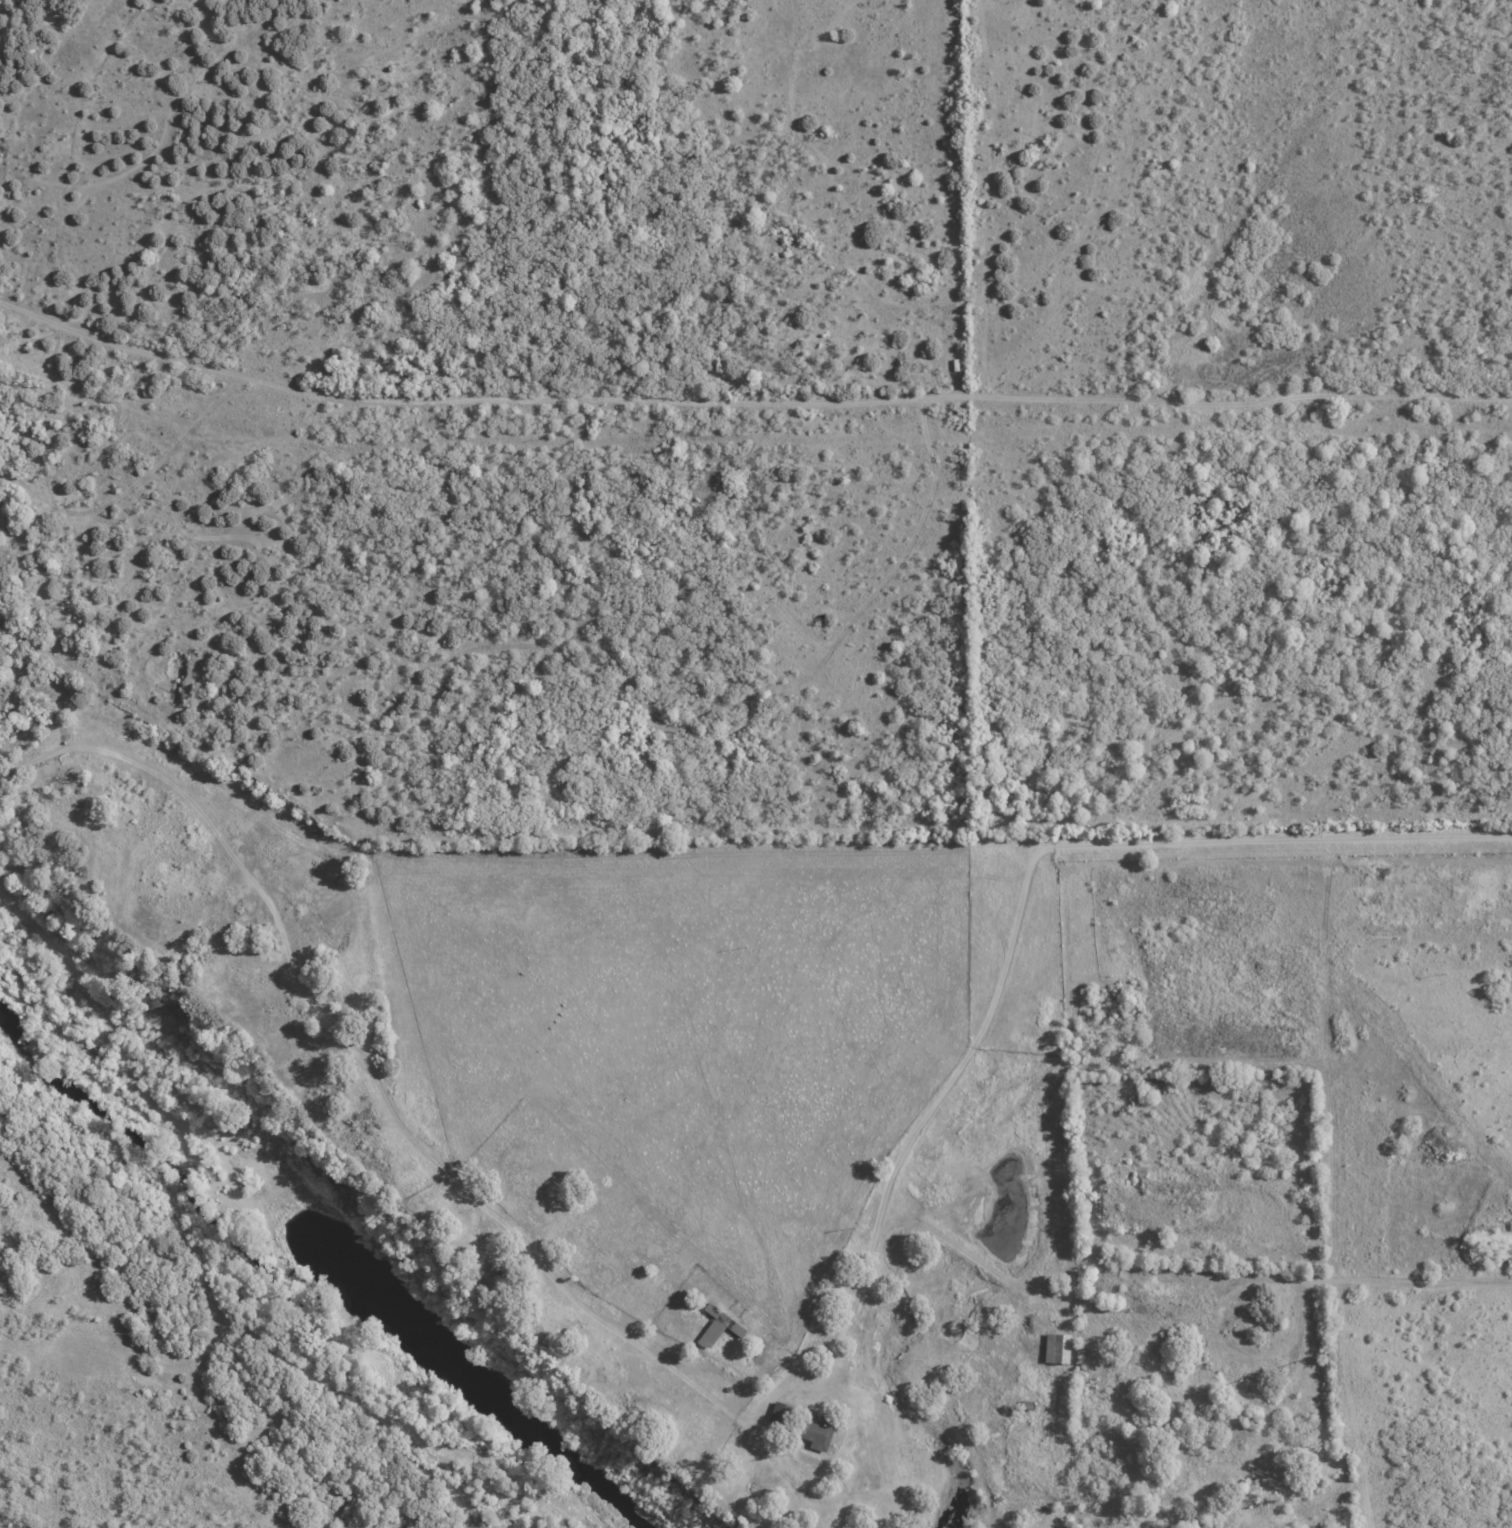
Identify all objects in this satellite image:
road: (1276, 841)
road: (907, 1139)
road: (1220, 1191)
road: (497, 1216)
building: (500, 1273)
road: (1404, 1279)
building: (1018, 1302)
building: (1047, 1325)
building: (718, 1326)
building: (1058, 1348)
building: (728, 1389)
building: (1029, 1406)
building: (802, 1425)
building: (739, 1430)
building: (846, 1443)
building: (1281, 1468)

